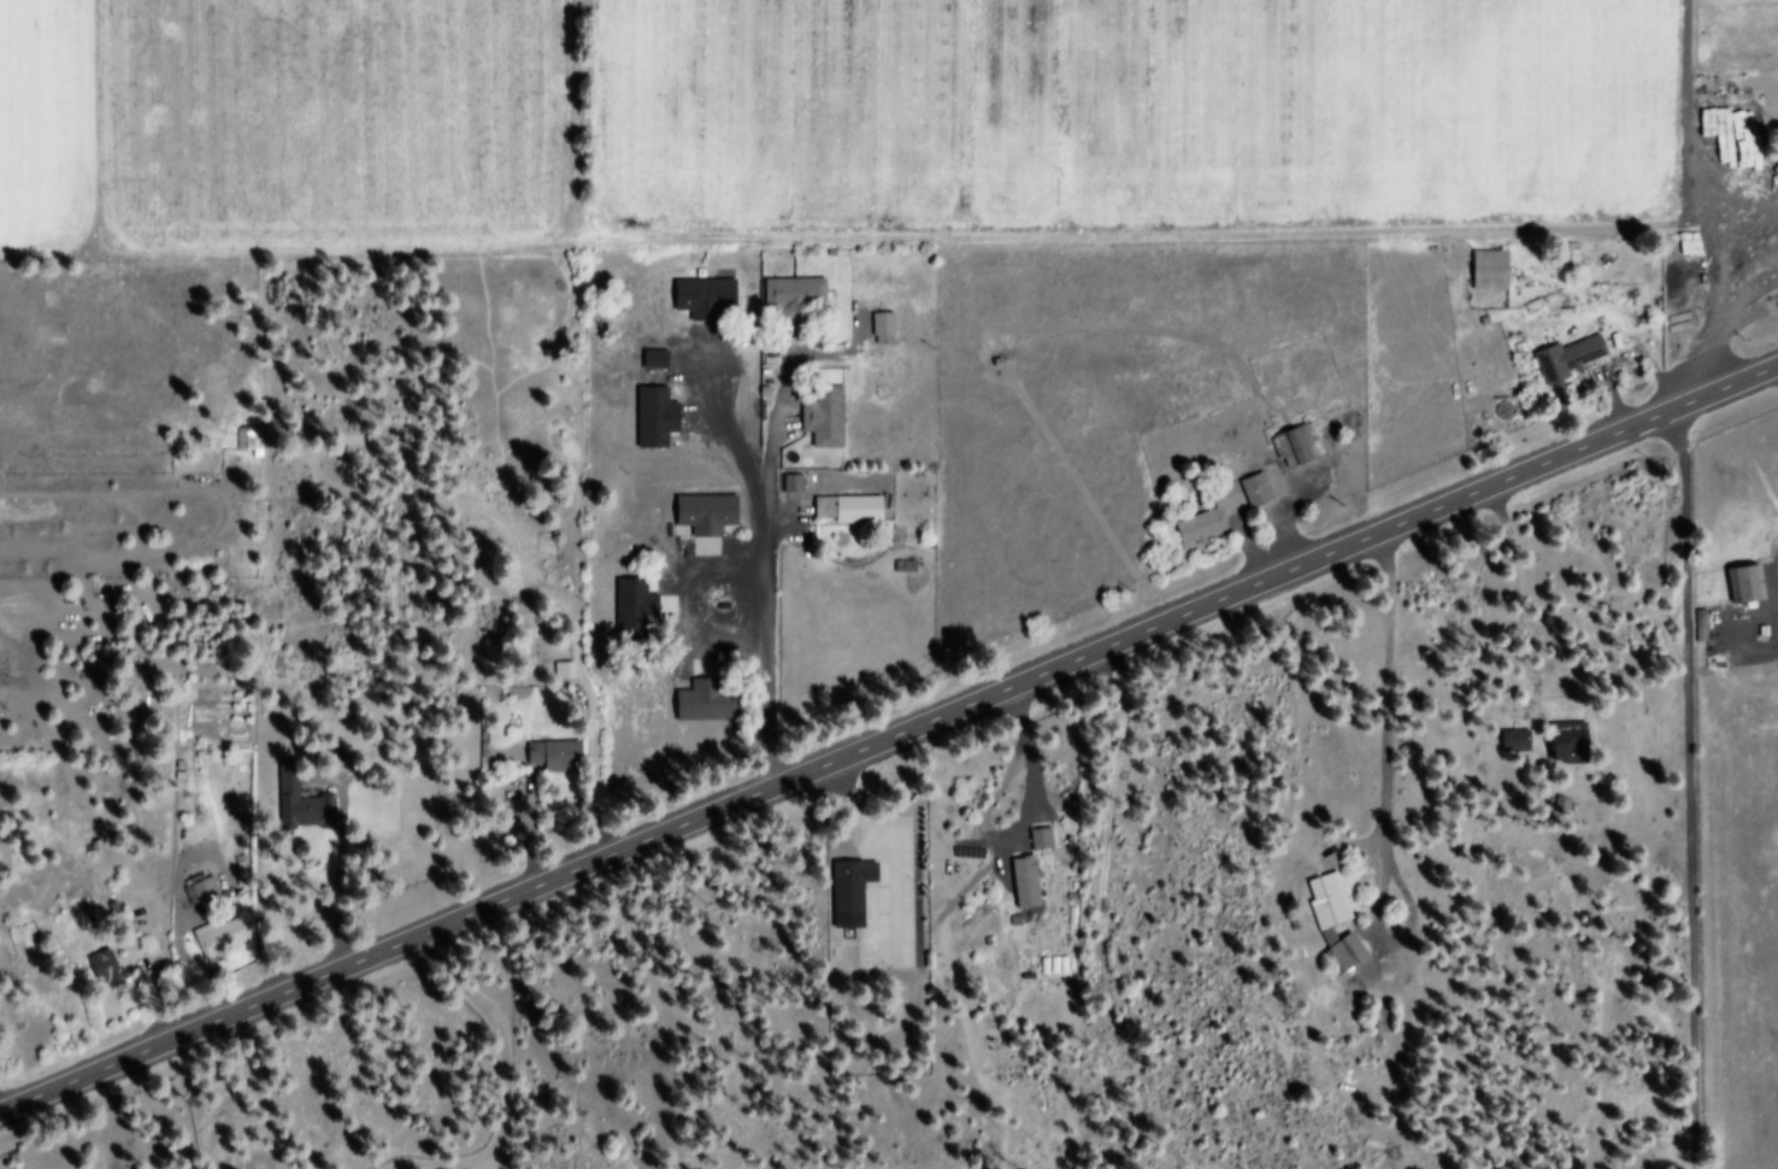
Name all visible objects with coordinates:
road: (1691, 202)
building: (1491, 271)
building: (795, 296)
building: (706, 299)
building: (884, 329)
building: (1570, 359)
building: (657, 360)
building: (657, 418)
building: (825, 418)
building: (249, 441)
building: (1299, 446)
building: (794, 484)
building: (1258, 492)
building: (850, 510)
building: (707, 515)
building: (1212, 517)
building: (1748, 584)
building: (636, 606)
building: (701, 704)
building: (1517, 741)
building: (1571, 742)
road: (890, 744)
building: (554, 757)
road: (1377, 857)
building: (1024, 886)
building: (853, 893)
building: (1329, 903)
building: (1344, 956)
building: (107, 971)

